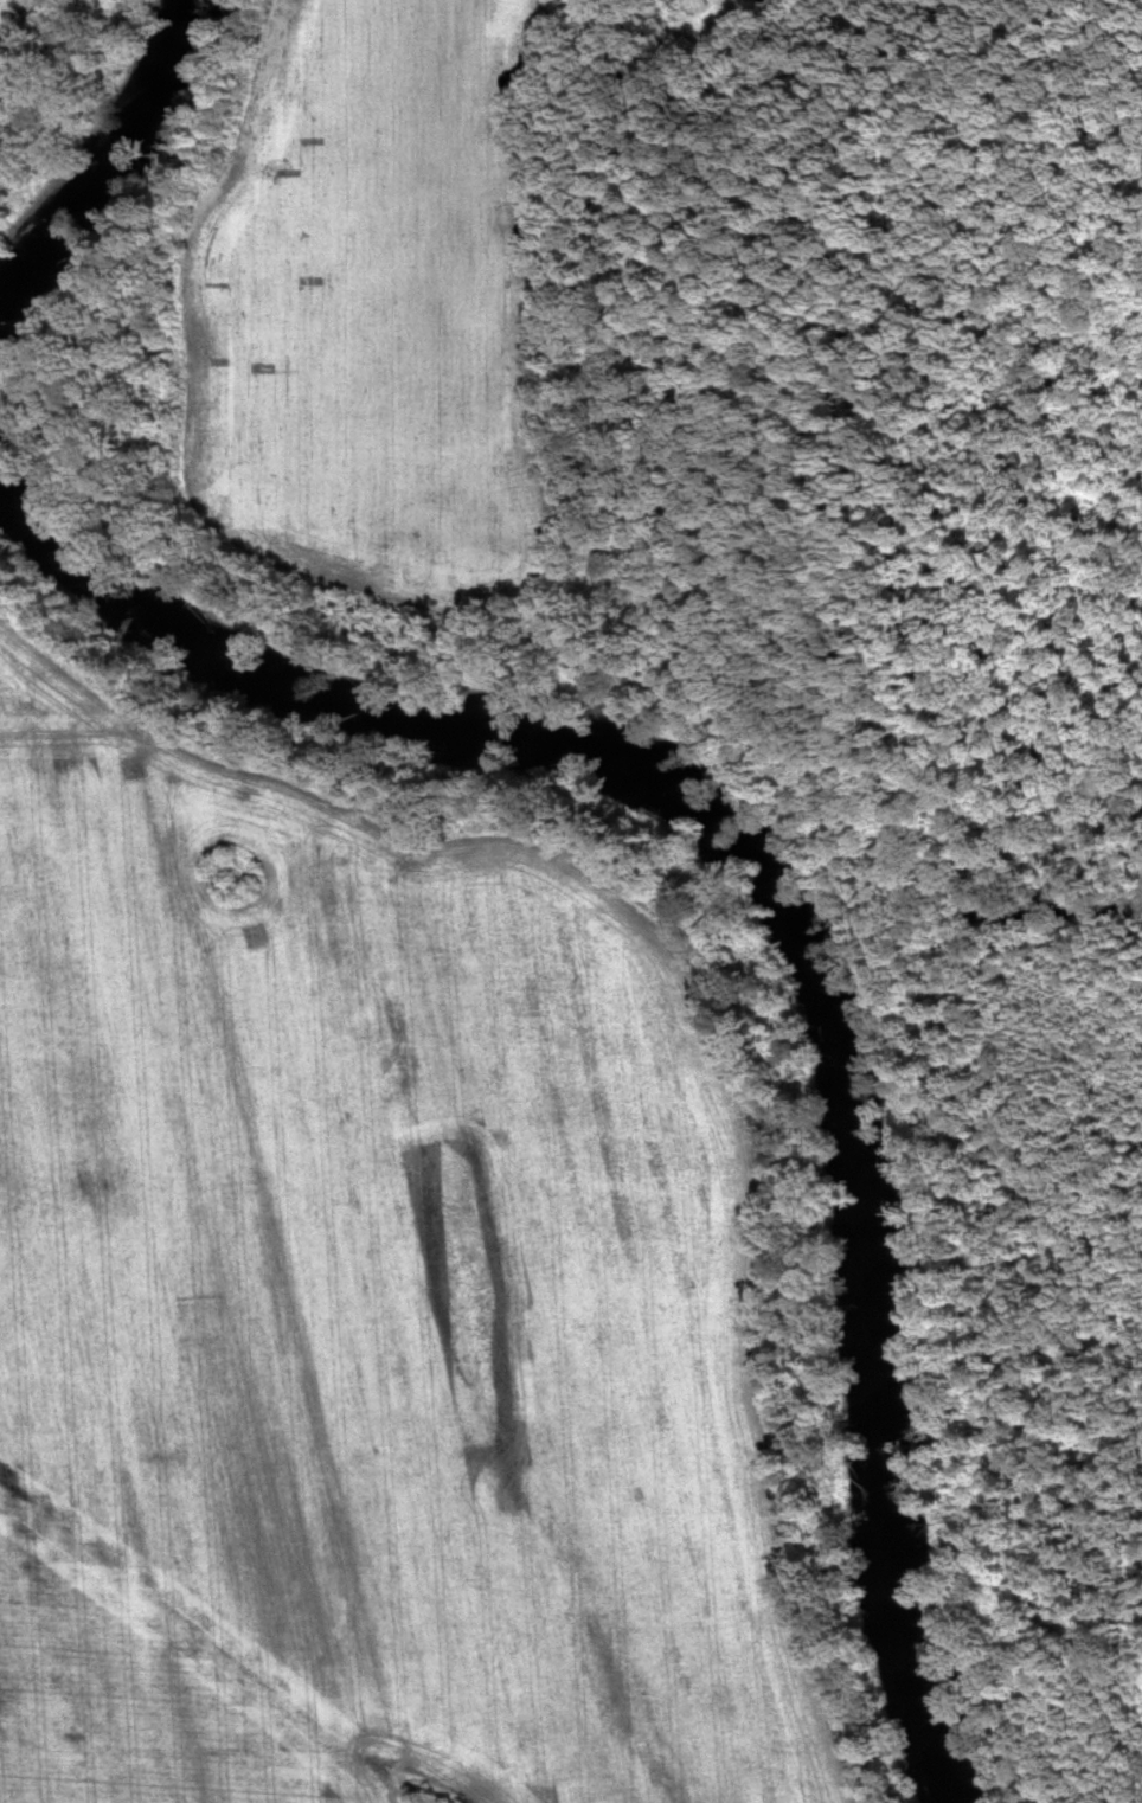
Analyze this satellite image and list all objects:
river: (110, 154)
river: (777, 911)

